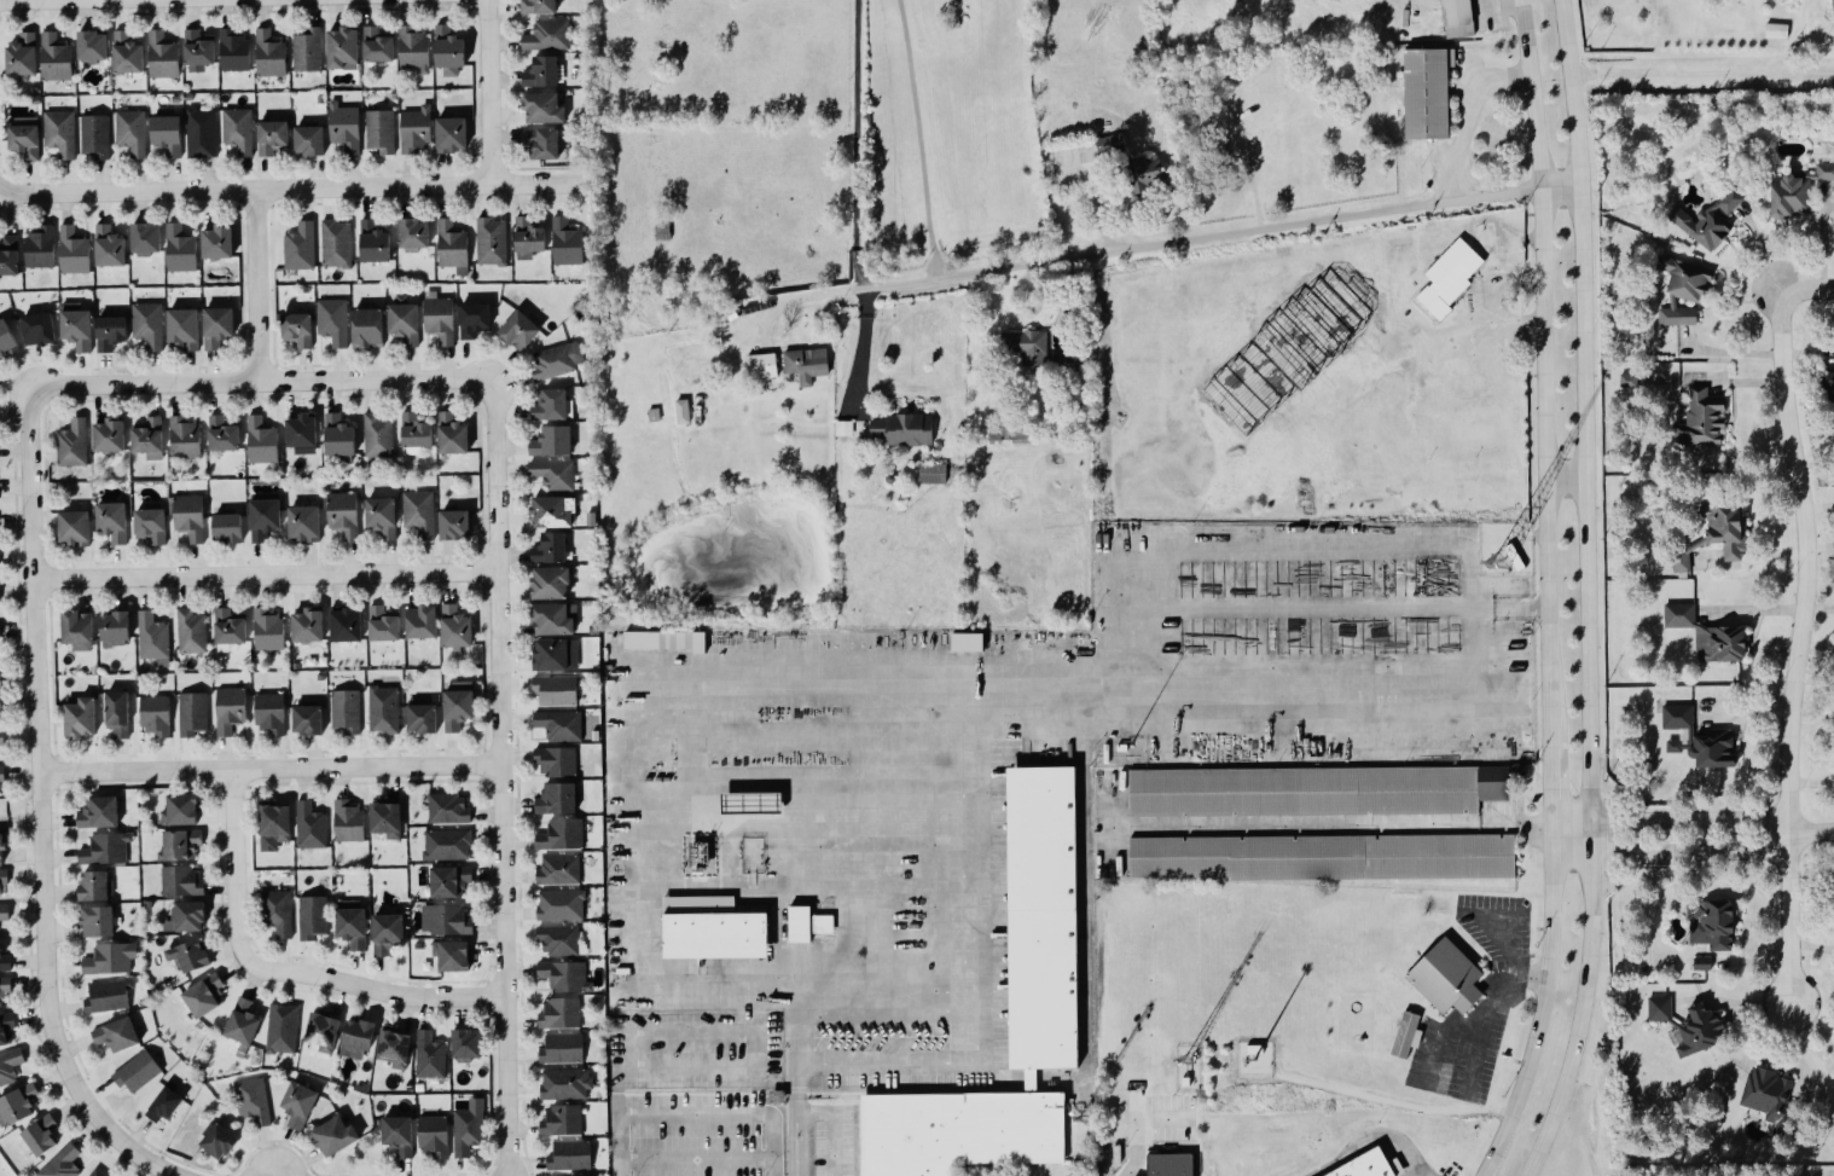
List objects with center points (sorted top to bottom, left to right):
building: (1833, 1)
building: (538, 7)
building: (1458, 13)
building: (1430, 29)
building: (1777, 33)
building: (549, 36)
building: (377, 46)
building: (91, 47)
building: (414, 48)
building: (308, 50)
building: (343, 50)
building: (234, 51)
building: (198, 52)
building: (448, 52)
building: (127, 54)
building: (269, 54)
building: (22, 57)
building: (163, 57)
building: (54, 58)
building: (541, 74)
road: (489, 92)
building: (1426, 94)
building: (542, 109)
road: (1462, 114)
building: (346, 128)
building: (239, 131)
building: (417, 131)
building: (132, 132)
building: (382, 132)
building: (60, 133)
building: (202, 133)
building: (167, 135)
building: (452, 135)
building: (24, 137)
building: (95, 138)
building: (273, 138)
road: (921, 139)
building: (308, 141)
building: (542, 144)
road: (860, 145)
building: (1144, 174)
road: (292, 189)
building: (1798, 190)
building: (1711, 219)
building: (413, 234)
building: (528, 238)
building: (145, 239)
building: (492, 242)
building: (567, 243)
building: (216, 244)
building: (337, 244)
building: (373, 244)
road: (1166, 244)
building: (40, 247)
building: (109, 248)
building: (301, 248)
building: (453, 248)
building: (180, 250)
building: (74, 253)
building: (10, 256)
building: (1451, 277)
road: (257, 285)
road: (1806, 286)
building: (1685, 290)
building: (440, 319)
building: (474, 319)
building: (333, 320)
building: (404, 321)
building: (149, 324)
building: (217, 325)
building: (76, 328)
building: (182, 328)
building: (367, 328)
building: (37, 329)
building: (297, 329)
building: (518, 329)
building: (110, 332)
building: (6, 338)
building: (1029, 346)
road: (863, 349)
building: (558, 360)
building: (807, 364)
road: (1543, 364)
building: (761, 366)
building: (1629, 380)
road: (261, 381)
building: (1829, 382)
building: (552, 405)
building: (683, 412)
building: (1704, 418)
building: (845, 429)
building: (904, 429)
building: (302, 433)
building: (416, 433)
building: (109, 434)
building: (222, 434)
building: (378, 434)
building: (452, 434)
building: (185, 436)
building: (338, 438)
building: (149, 439)
building: (261, 440)
building: (552, 440)
building: (74, 444)
building: (934, 473)
road: (1565, 473)
building: (557, 475)
building: (553, 510)
building: (420, 512)
building: (344, 514)
building: (190, 516)
building: (382, 516)
building: (263, 517)
building: (112, 520)
building: (303, 522)
building: (150, 525)
building: (454, 525)
building: (227, 526)
building: (72, 527)
building: (1726, 528)
road: (1508, 538)
road: (1468, 544)
building: (550, 548)
building: (1514, 557)
building: (1682, 561)
road: (266, 575)
building: (550, 583)
road: (1586, 592)
road: (1508, 608)
building: (1681, 615)
building: (555, 619)
building: (420, 621)
building: (346, 624)
building: (383, 624)
building: (307, 625)
building: (455, 627)
building: (114, 628)
building: (77, 630)
building: (228, 630)
building: (268, 630)
building: (0, 631)
building: (192, 631)
building: (153, 638)
building: (658, 639)
building: (968, 641)
building: (1722, 643)
road: (1797, 645)
building: (556, 654)
building: (0, 679)
building: (556, 690)
building: (458, 706)
building: (231, 709)
building: (384, 709)
building: (0, 711)
building: (346, 711)
building: (117, 713)
building: (193, 713)
building: (156, 714)
building: (269, 714)
building: (79, 718)
building: (422, 718)
building: (307, 719)
building: (561, 725)
road: (637, 735)
building: (1, 737)
building: (1700, 738)
building: (557, 760)
road: (269, 767)
building: (2, 775)
road: (501, 776)
road: (1549, 780)
building: (1302, 792)
building: (0, 795)
building: (557, 798)
building: (751, 803)
road: (40, 809)
building: (448, 809)
building: (181, 810)
building: (99, 812)
building: (385, 818)
building: (275, 821)
building: (348, 821)
road: (1329, 824)
building: (310, 825)
building: (562, 834)
road: (1690, 836)
building: (181, 844)
building: (448, 845)
building: (1, 848)
building: (106, 848)
building: (1321, 856)
road: (236, 868)
building: (559, 870)
building: (4, 879)
building: (182, 881)
building: (449, 881)
building: (95, 885)
building: (562, 905)
building: (5, 913)
building: (279, 913)
building: (313, 916)
building: (186, 917)
building: (1043, 919)
building: (447, 920)
building: (97, 921)
building: (1713, 923)
building: (800, 925)
building: (352, 926)
building: (387, 933)
building: (716, 937)
road: (980, 938)
building: (559, 940)
building: (188, 955)
building: (452, 956)
building: (111, 958)
building: (6, 962)
building: (1704, 963)
building: (565, 975)
building: (1444, 975)
building: (5, 989)
road: (377, 990)
building: (204, 996)
building: (108, 997)
road: (1537, 1007)
building: (561, 1014)
road: (1486, 1019)
building: (242, 1021)
road: (1816, 1025)
building: (1689, 1026)
building: (6, 1027)
building: (284, 1029)
building: (323, 1032)
building: (116, 1035)
building: (1405, 1036)
road: (691, 1037)
building: (356, 1038)
building: (466, 1043)
building: (395, 1048)
building: (563, 1049)
building: (430, 1056)
building: (10, 1066)
building: (138, 1072)
building: (567, 1084)
building: (1769, 1094)
building: (253, 1100)
building: (17, 1103)
building: (298, 1105)
building: (163, 1106)
building: (563, 1120)
building: (469, 1128)
building: (40, 1135)
building: (399, 1135)
building: (335, 1136)
building: (434, 1136)
building: (217, 1141)
building: (570, 1155)
building: (1162, 1161)
building: (63, 1163)
building: (1372, 1166)
road: (275, 1170)
building: (95, 1174)

